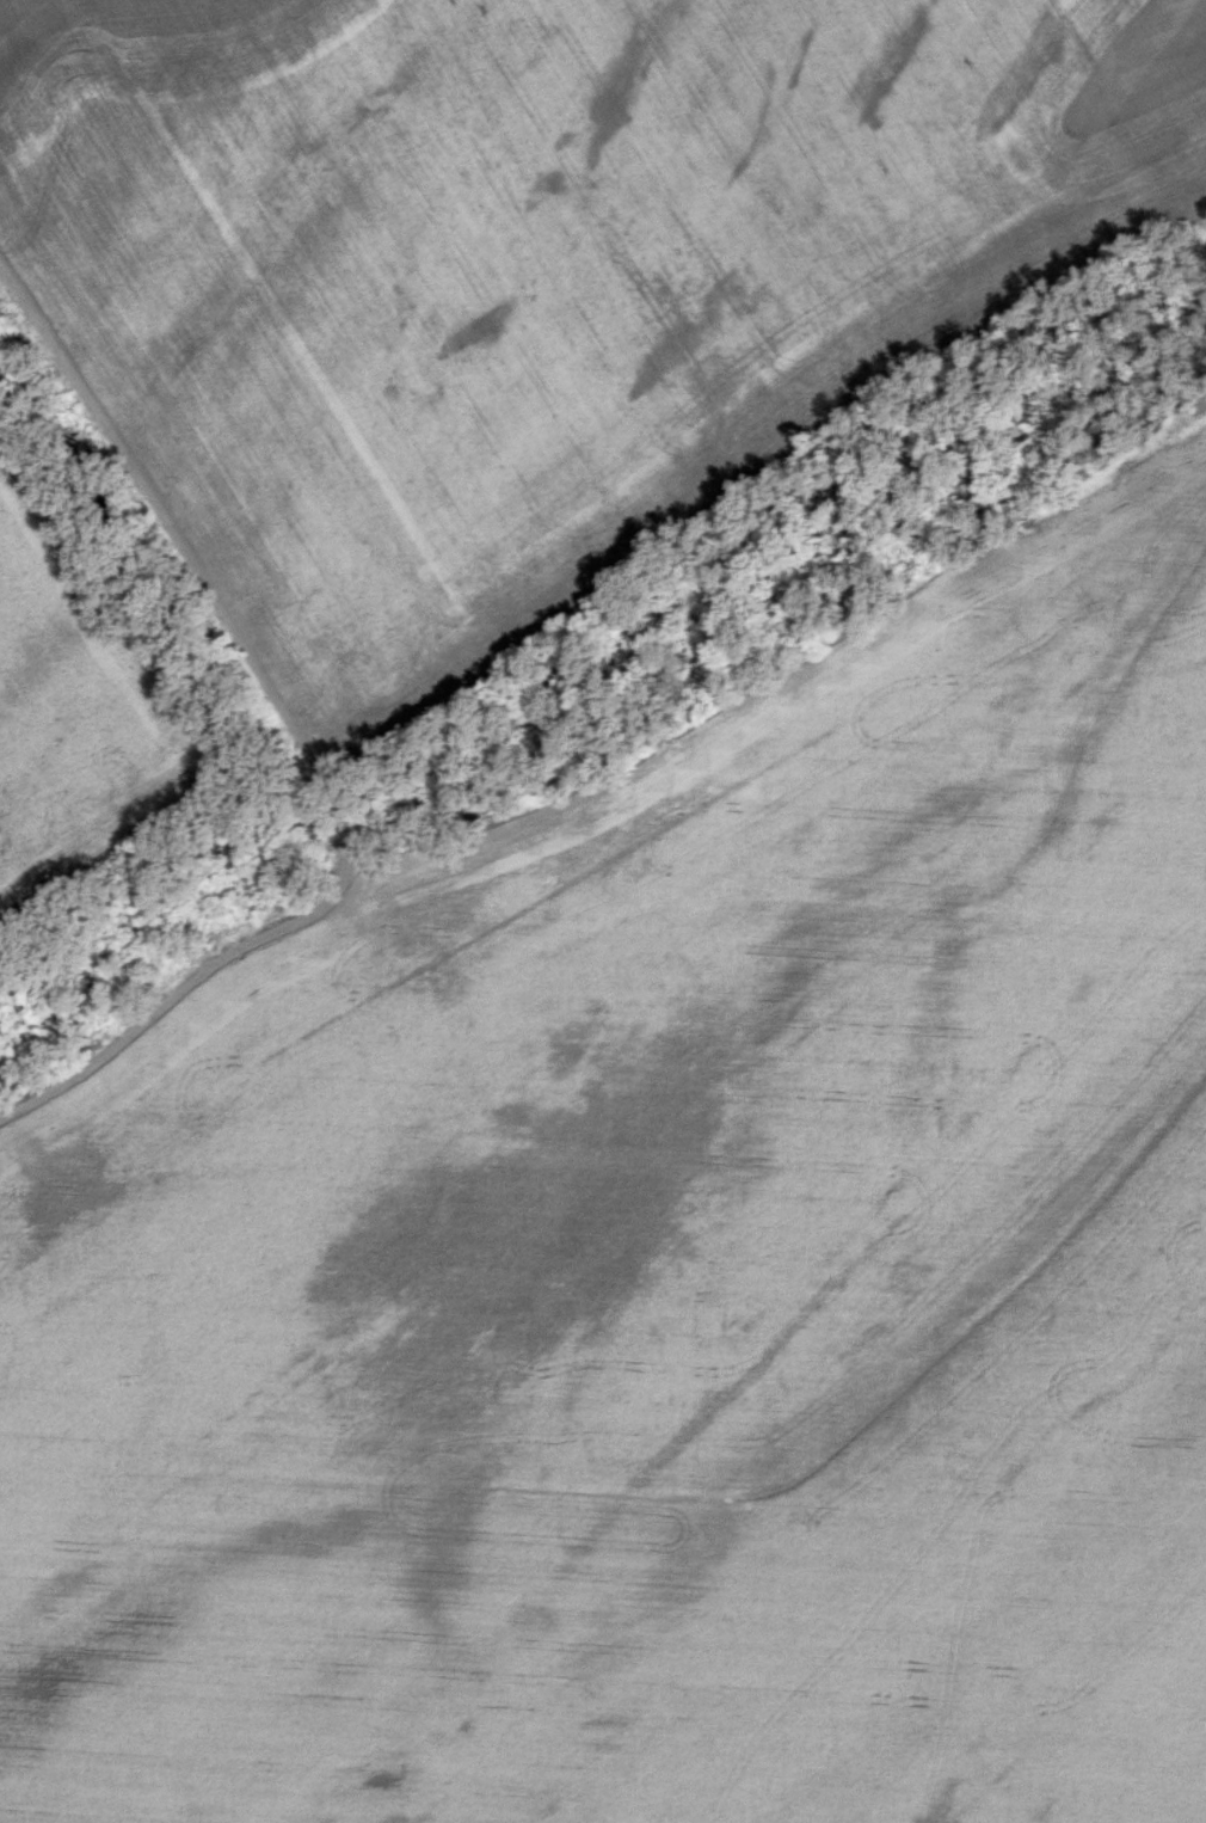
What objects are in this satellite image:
crop: (533, 276)
crop: (81, 700)
road: (304, 742)
crop: (665, 1269)

